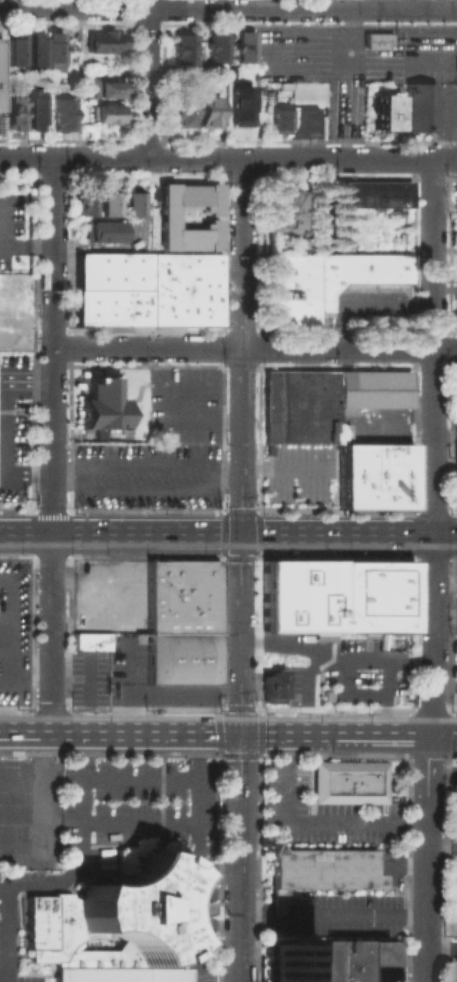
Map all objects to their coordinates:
road: (423, 4)
road: (228, 8)
building: (106, 42)
building: (378, 42)
building: (14, 48)
building: (217, 48)
building: (245, 48)
building: (35, 50)
building: (53, 51)
building: (183, 52)
building: (85, 56)
building: (454, 63)
building: (1, 78)
road: (147, 79)
building: (107, 88)
building: (242, 108)
building: (418, 108)
building: (37, 109)
building: (16, 112)
building: (383, 112)
building: (66, 113)
building: (110, 113)
building: (181, 114)
building: (210, 114)
building: (280, 122)
building: (305, 125)
road: (27, 158)
road: (100, 158)
road: (194, 158)
road: (349, 158)
building: (375, 194)
parking lot: (456, 200)
building: (85, 203)
building: (109, 204)
building: (134, 204)
building: (282, 213)
building: (165, 216)
parking lot: (11, 223)
building: (105, 231)
building: (9, 281)
building: (321, 283)
road: (443, 289)
building: (148, 291)
parking lot: (454, 296)
building: (8, 303)
parking lot: (371, 305)
building: (9, 338)
road: (52, 345)
road: (254, 348)
building: (373, 390)
road: (136, 393)
parking lot: (454, 402)
parking lot: (182, 405)
building: (101, 406)
building: (300, 408)
road: (198, 421)
parking lot: (373, 426)
road: (3, 427)
parking lot: (12, 428)
road: (429, 444)
road: (146, 463)
building: (454, 471)
parking lot: (145, 475)
building: (373, 475)
parking lot: (300, 476)
road: (3, 486)
road: (146, 488)
road: (25, 533)
traffic signals: (240, 534)
road: (254, 534)
road: (258, 541)
railway: (228, 545)
road: (411, 546)
road: (289, 550)
road: (258, 553)
railway: (262, 553)
road: (334, 556)
road: (248, 557)
road: (420, 557)
road: (240, 569)
parking lot: (107, 594)
building: (181, 595)
building: (297, 595)
building: (370, 595)
parking lot: (15, 631)
road: (15, 631)
road: (51, 632)
parking lot: (454, 637)
building: (91, 640)
road: (332, 641)
road: (7, 648)
building: (181, 656)
road: (333, 659)
parking lot: (367, 662)
road: (278, 668)
parking lot: (123, 673)
road: (305, 675)
road: (16, 685)
building: (270, 685)
road: (126, 689)
road: (346, 694)
road: (385, 695)
road: (58, 706)
railway: (211, 706)
road: (231, 706)
road: (139, 707)
road: (219, 707)
road: (216, 719)
railway: (228, 719)
road: (442, 729)
road: (25, 730)
road: (239, 731)
traffic signals: (240, 732)
road: (442, 770)
road: (159, 776)
building: (351, 786)
parking lot: (453, 786)
building: (454, 811)
road: (48, 815)
road: (91, 821)
parking lot: (93, 833)
road: (441, 848)
road: (427, 855)
parking lot: (392, 864)
road: (215, 870)
building: (322, 875)
road: (61, 877)
road: (187, 891)
parking lot: (454, 891)
road: (332, 917)
building: (312, 927)
road: (442, 928)
building: (109, 929)
road: (4, 933)
road: (216, 943)
road: (442, 949)
building: (337, 963)
parking lot: (455, 963)
park: (197, 977)

